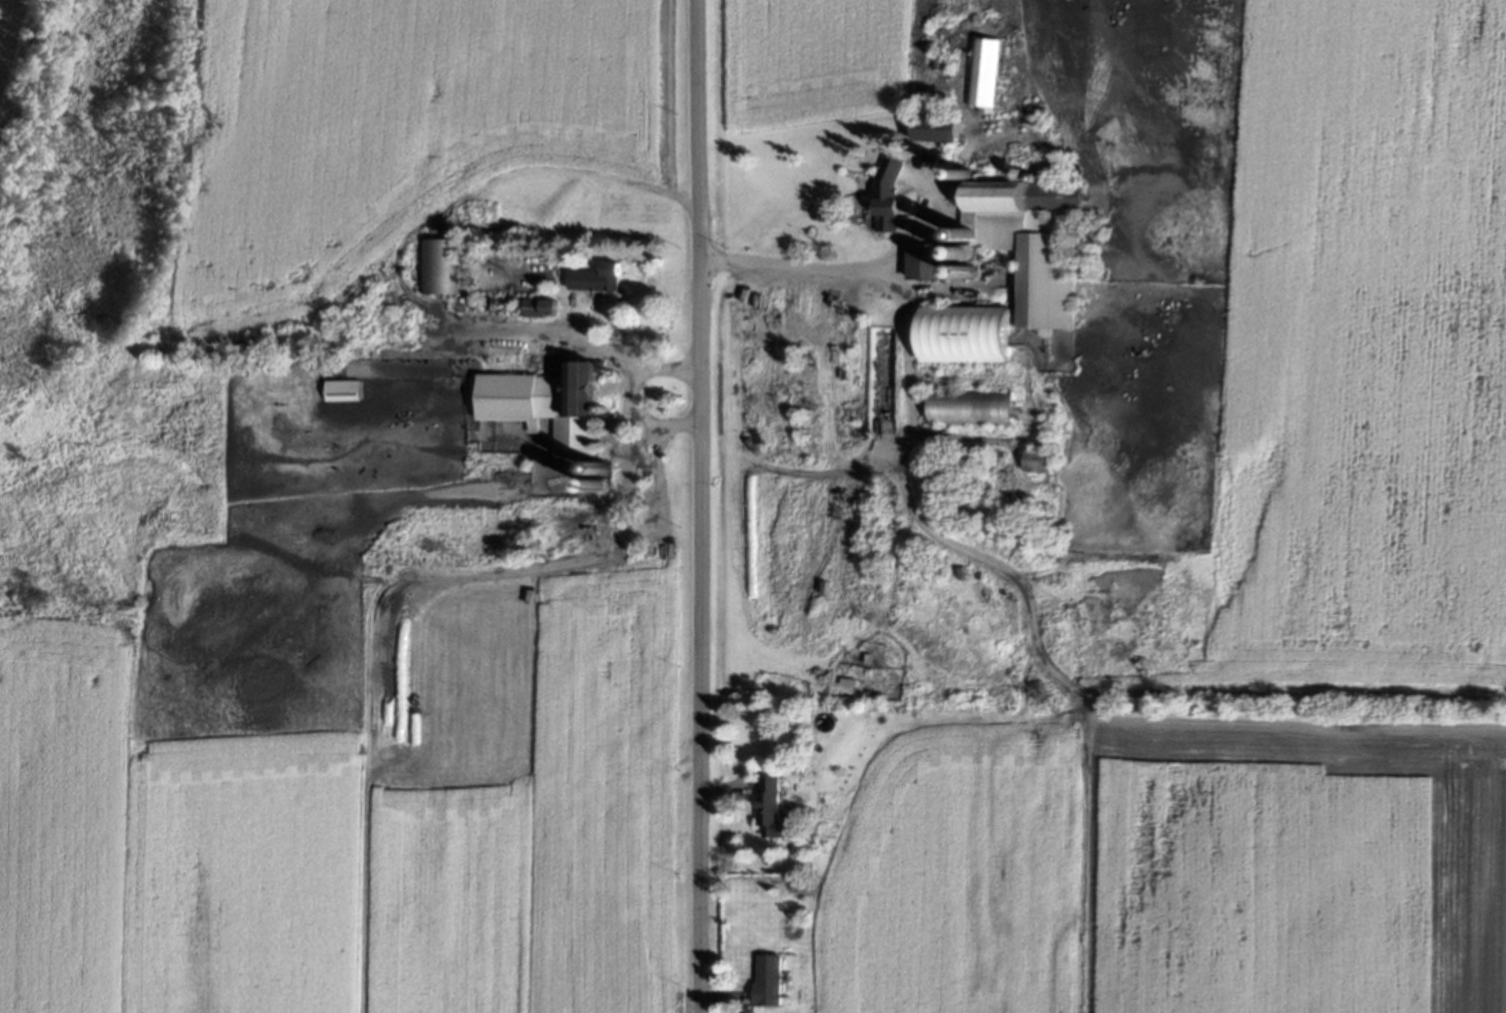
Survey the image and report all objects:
building: (941, 65)
building: (983, 74)
building: (933, 130)
building: (886, 197)
building: (1024, 244)
building: (924, 265)
road: (833, 267)
building: (439, 268)
building: (594, 280)
building: (538, 310)
building: (961, 336)
building: (342, 392)
building: (543, 407)
building: (968, 409)
building: (1036, 462)
road: (817, 469)
road: (701, 506)
building: (649, 696)
building: (768, 810)
building: (766, 982)

